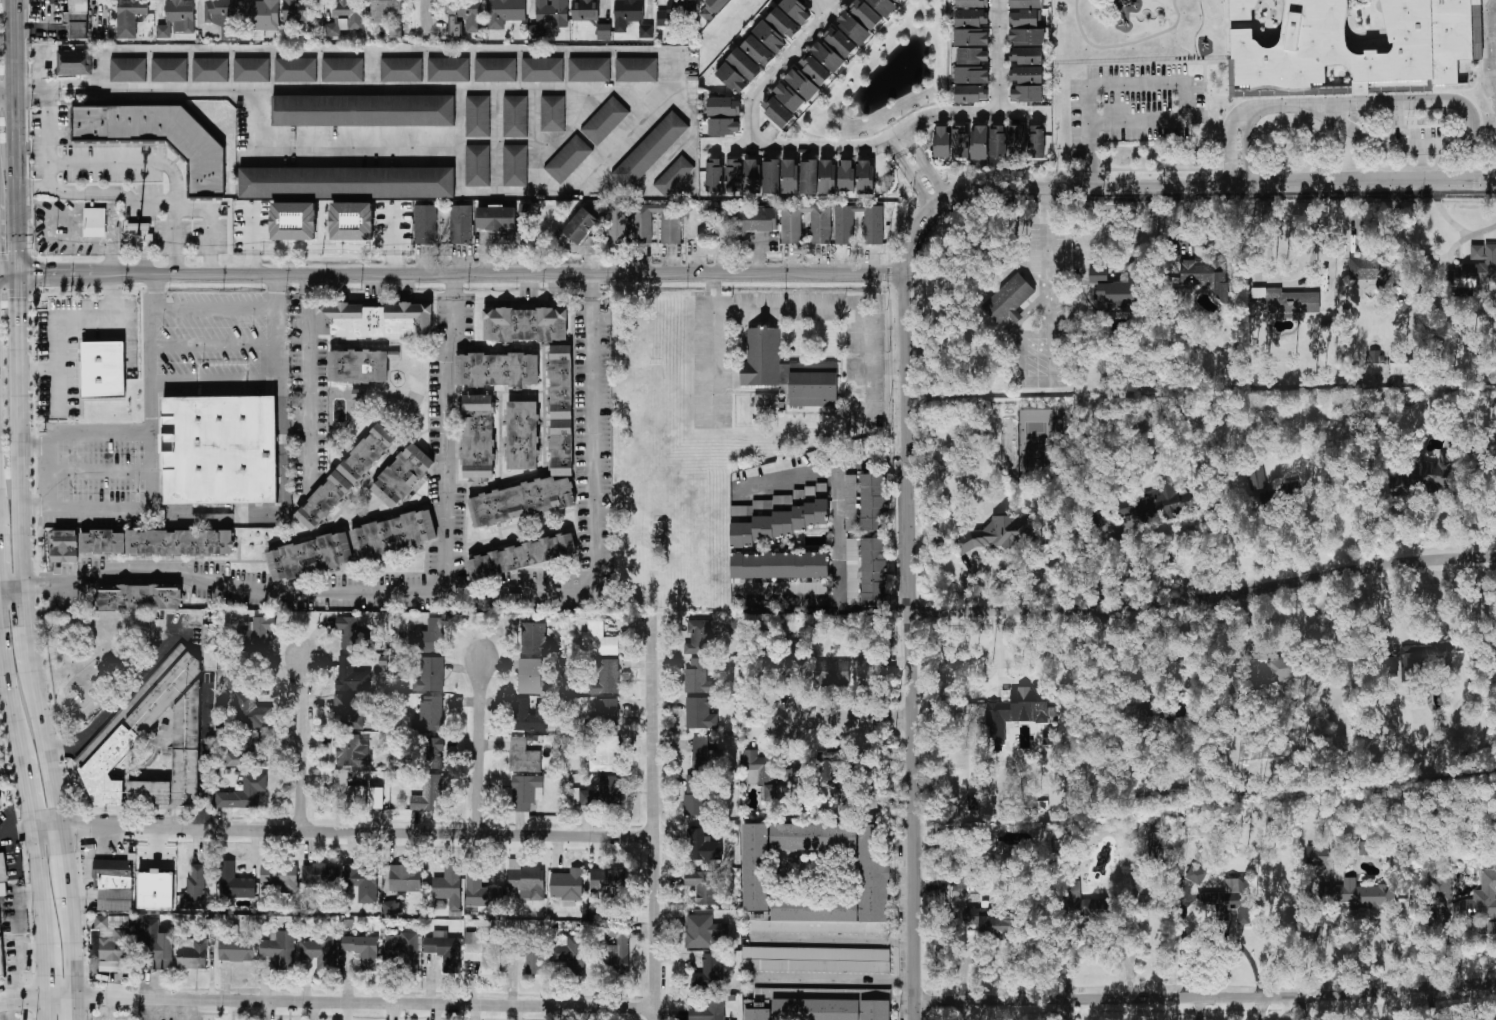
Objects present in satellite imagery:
building: (897, 0)
building: (779, 1)
building: (972, 3)
building: (1026, 4)
building: (715, 5)
road: (822, 6)
building: (884, 6)
building: (1238, 8)
building: (385, 10)
building: (584, 10)
building: (297, 11)
building: (796, 11)
building: (552, 12)
building: (505, 13)
building: (628, 13)
building: (671, 14)
building: (865, 14)
building: (262, 15)
building: (222, 16)
building: (130, 17)
building: (344, 17)
building: (464, 17)
road: (1213, 17)
building: (177, 18)
building: (971, 18)
building: (1023, 18)
building: (77, 19)
road: (427, 20)
road: (1171, 22)
building: (783, 23)
building: (854, 28)
building: (604, 30)
building: (536, 31)
building: (646, 31)
building: (395, 32)
building: (770, 37)
building: (972, 37)
building: (1027, 37)
building: (839, 41)
road: (1123, 44)
road: (1489, 46)
building: (1426, 47)
road: (383, 51)
building: (758, 51)
building: (1026, 55)
building: (827, 56)
building: (973, 56)
road: (998, 58)
building: (74, 62)
road: (1189, 62)
fountain: (907, 65)
building: (450, 68)
road: (780, 68)
building: (128, 69)
building: (295, 69)
building: (343, 69)
building: (495, 69)
building: (814, 69)
building: (170, 70)
building: (211, 70)
building: (252, 70)
road: (371, 70)
building: (402, 70)
building: (544, 70)
building: (590, 70)
building: (637, 70)
building: (739, 71)
building: (1026, 74)
building: (972, 75)
road: (1169, 83)
building: (802, 84)
road: (344, 89)
road: (8, 92)
building: (971, 94)
building: (1026, 94)
building: (788, 97)
road: (585, 102)
building: (363, 110)
building: (777, 111)
building: (553, 113)
building: (517, 115)
building: (478, 116)
building: (724, 116)
building: (605, 120)
road: (51, 128)
road: (16, 137)
road: (910, 138)
building: (159, 139)
road: (623, 139)
road: (534, 140)
road: (459, 141)
road: (495, 141)
building: (942, 142)
building: (960, 142)
building: (998, 142)
building: (1037, 142)
building: (980, 143)
road: (328, 145)
road: (684, 145)
road: (1228, 145)
road: (878, 146)
road: (1453, 147)
road: (895, 148)
building: (649, 149)
road: (918, 150)
road: (1248, 150)
building: (568, 159)
road: (902, 161)
road: (151, 165)
building: (476, 165)
building: (516, 165)
road: (1093, 167)
road: (928, 168)
road: (696, 169)
building: (673, 175)
building: (725, 176)
building: (752, 176)
building: (771, 176)
building: (790, 176)
building: (846, 176)
building: (809, 177)
building: (827, 177)
building: (865, 177)
road: (912, 178)
building: (346, 182)
road: (1094, 183)
road: (942, 189)
road: (1176, 189)
road: (548, 193)
road: (925, 199)
road: (145, 201)
building: (496, 218)
building: (757, 219)
building: (294, 221)
building: (352, 221)
building: (95, 222)
building: (461, 224)
building: (425, 225)
building: (618, 225)
road: (1455, 225)
building: (578, 228)
building: (671, 228)
building: (791, 228)
building: (844, 228)
road: (109, 240)
road: (1052, 243)
road: (1376, 245)
building: (1372, 268)
road: (461, 274)
road: (9, 275)
traffic signals: (19, 275)
building: (1206, 276)
road: (1289, 283)
road: (308, 286)
road: (443, 287)
road: (599, 287)
building: (1117, 296)
building: (1009, 300)
building: (1287, 301)
road: (844, 310)
road: (216, 312)
road: (72, 320)
building: (373, 320)
road: (1053, 322)
building: (524, 326)
road: (216, 343)
road: (714, 349)
road: (154, 355)
building: (1375, 357)
building: (359, 368)
building: (1401, 368)
road: (38, 370)
building: (102, 371)
building: (496, 371)
building: (787, 371)
road: (216, 379)
road: (309, 390)
building: (766, 404)
building: (561, 407)
road: (19, 434)
road: (102, 435)
road: (9, 437)
building: (477, 437)
building: (522, 437)
park: (1036, 442)
road: (35, 445)
road: (444, 448)
building: (218, 452)
road: (897, 459)
road: (281, 462)
road: (814, 468)
road: (102, 470)
road: (53, 472)
road: (152, 472)
building: (1428, 474)
building: (402, 477)
building: (1255, 478)
building: (343, 479)
building: (1170, 501)
building: (850, 502)
building: (873, 502)
building: (521, 503)
building: (1127, 507)
road: (85, 509)
building: (778, 516)
building: (1000, 534)
road: (837, 535)
road: (1259, 540)
building: (136, 544)
building: (351, 548)
building: (521, 557)
building: (779, 565)
building: (866, 572)
road: (51, 592)
road: (12, 593)
building: (769, 593)
road: (484, 598)
building: (139, 599)
road: (1203, 599)
road: (817, 606)
road: (900, 608)
road: (1388, 610)
road: (27, 626)
building: (260, 632)
building: (353, 634)
building: (698, 637)
building: (428, 638)
building: (536, 640)
building: (599, 640)
road: (908, 646)
road: (1280, 650)
park: (91, 659)
building: (1424, 660)
building: (795, 666)
building: (866, 672)
building: (1273, 672)
building: (832, 673)
building: (430, 675)
building: (351, 676)
building: (606, 676)
building: (699, 677)
building: (532, 678)
road: (7, 684)
road: (4, 692)
road: (117, 700)
building: (1019, 708)
building: (251, 709)
building: (607, 710)
building: (347, 712)
building: (432, 713)
building: (701, 713)
building: (530, 716)
road: (848, 720)
building: (123, 732)
road: (47, 744)
road: (300, 746)
road: (481, 746)
building: (245, 751)
building: (352, 751)
building: (435, 752)
building: (607, 755)
building: (706, 756)
building: (523, 757)
road: (205, 759)
building: (831, 766)
building: (759, 773)
building: (347, 788)
building: (610, 790)
building: (526, 792)
building: (244, 793)
road: (26, 794)
building: (428, 794)
building: (0, 795)
building: (695, 795)
building: (375, 798)
building: (586, 798)
road: (654, 817)
road: (15, 829)
road: (47, 830)
road: (358, 831)
building: (703, 846)
building: (1366, 848)
building: (1318, 855)
road: (65, 858)
building: (3, 868)
building: (873, 873)
building: (320, 875)
building: (1196, 875)
building: (281, 878)
building: (405, 878)
building: (607, 880)
building: (525, 881)
building: (234, 882)
building: (362, 883)
building: (114, 884)
road: (38, 886)
building: (567, 886)
building: (702, 886)
building: (448, 887)
building: (3, 889)
building: (156, 890)
building: (194, 890)
building: (482, 892)
building: (1484, 893)
building: (1360, 895)
building: (1230, 899)
building: (392, 909)
building: (1097, 909)
road: (1353, 918)
building: (1491, 928)
building: (702, 931)
road: (832, 940)
building: (113, 941)
road: (72, 942)
building: (156, 945)
building: (236, 946)
building: (280, 950)
building: (362, 950)
building: (403, 950)
building: (445, 950)
building: (617, 950)
building: (320, 953)
building: (483, 953)
building: (569, 954)
building: (193, 955)
building: (1, 959)
building: (532, 959)
building: (816, 960)
road: (44, 971)
building: (709, 973)
road: (832, 979)
road: (1205, 996)
road: (60, 999)
road: (22, 1000)
road: (366, 1003)
building: (821, 1005)
road: (1304, 1007)
road: (1197, 1008)
road: (1261, 1008)
road: (45, 1009)
road: (75, 1009)
building: (710, 1009)
road: (1171, 1009)
road: (1068, 1010)

